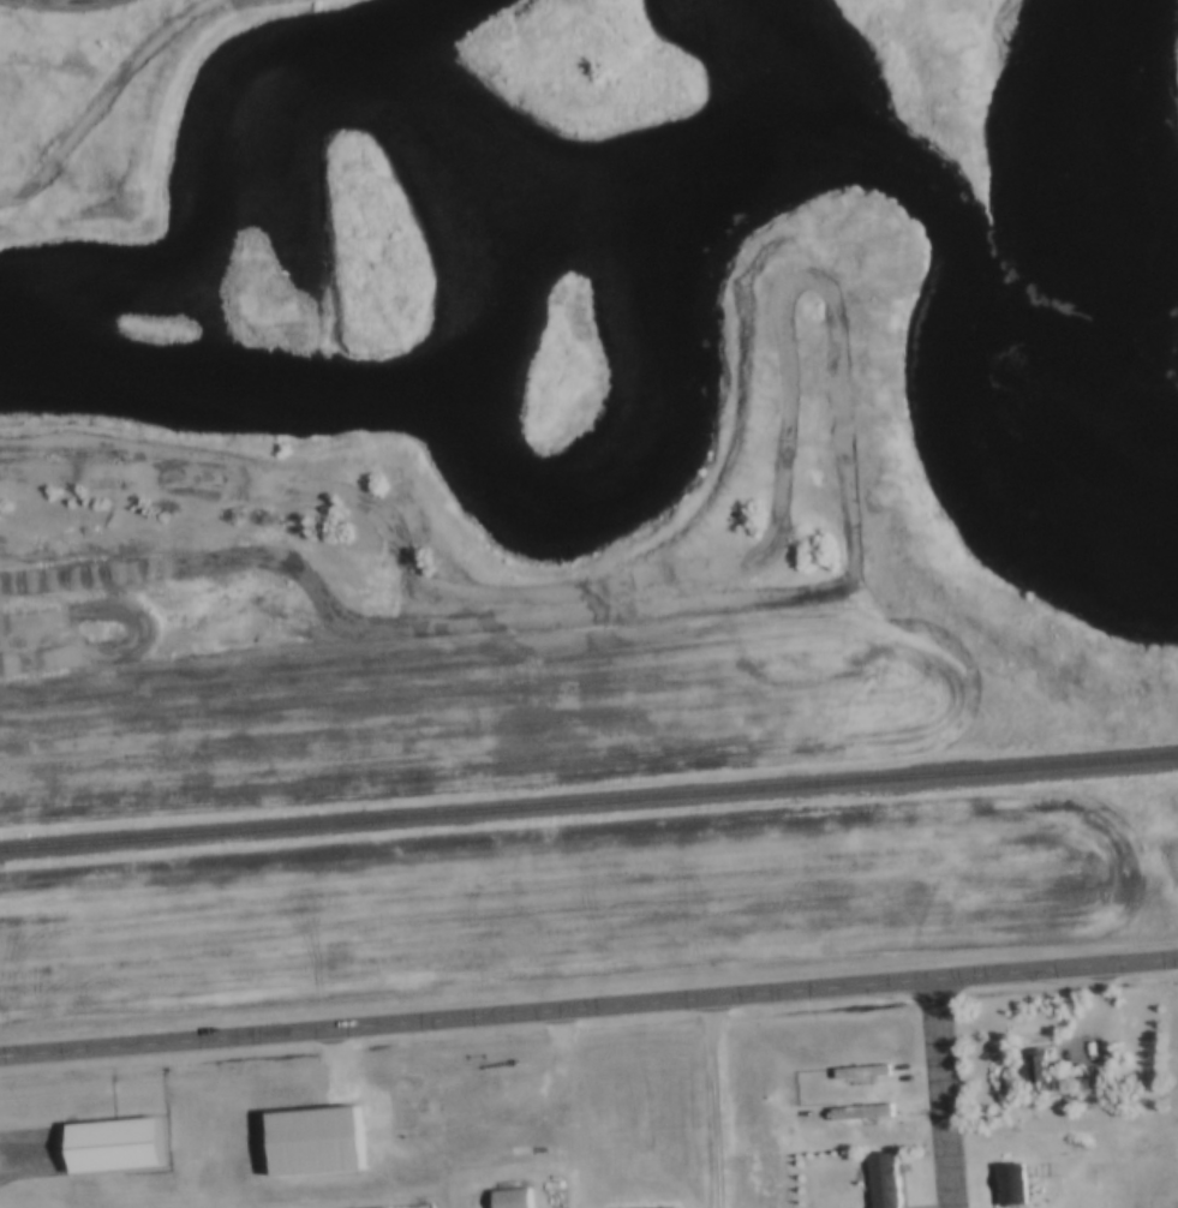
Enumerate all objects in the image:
road: (130, 68)
railway: (588, 802)
road: (588, 1010)
building: (1029, 1071)
building: (857, 1075)
road: (944, 1095)
road: (720, 1105)
building: (857, 1114)
building: (309, 1141)
building: (112, 1149)
building: (879, 1180)
building: (1006, 1185)
building: (506, 1198)
building: (377, 1207)
building: (388, 1207)
building: (639, 1207)

